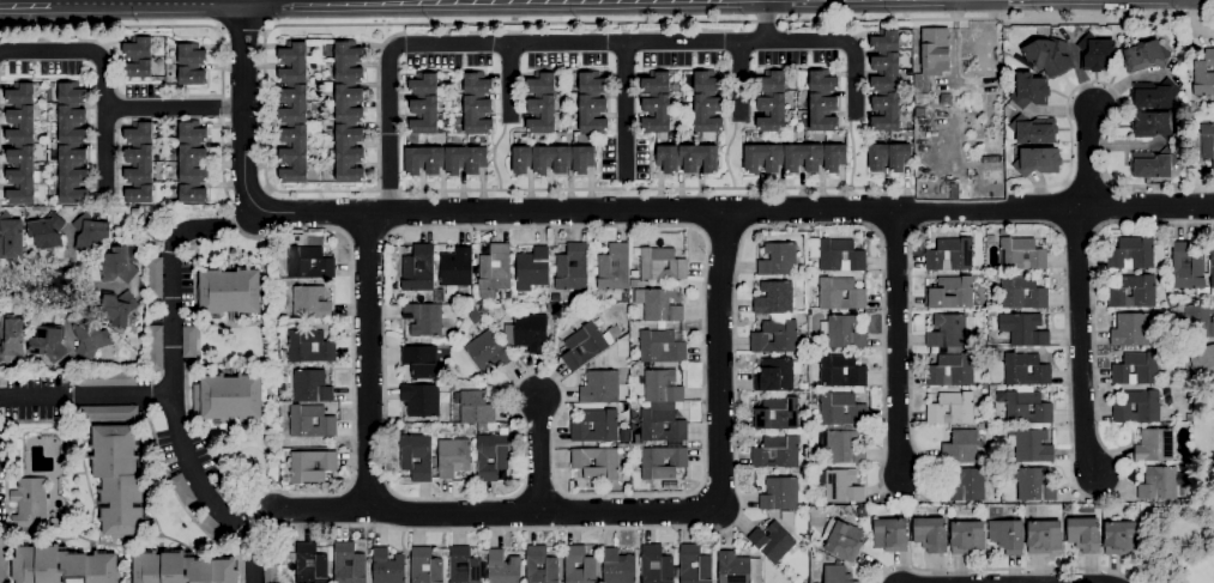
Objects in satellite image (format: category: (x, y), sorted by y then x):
road: (705, 1)
road: (115, 5)
road: (248, 5)
road: (446, 6)
road: (55, 10)
road: (159, 10)
road: (228, 10)
road: (765, 20)
road: (738, 22)
road: (1195, 25)
road: (241, 31)
building: (884, 41)
road: (538, 42)
road: (954, 42)
building: (138, 48)
road: (50, 51)
building: (1095, 53)
building: (191, 55)
building: (1179, 55)
building: (1144, 56)
building: (1049, 57)
building: (348, 62)
building: (931, 62)
building: (292, 63)
building: (138, 68)
building: (884, 72)
building: (191, 75)
building: (1203, 75)
road: (507, 79)
road: (854, 79)
road: (739, 80)
building: (771, 81)
building: (822, 81)
building: (540, 83)
building: (592, 83)
building: (656, 83)
building: (707, 83)
building: (423, 84)
building: (477, 84)
building: (49, 85)
building: (676, 89)
building: (1029, 91)
building: (71, 92)
building: (19, 93)
building: (1153, 95)
road: (1069, 98)
building: (944, 99)
building: (348, 103)
building: (292, 104)
road: (173, 108)
road: (624, 109)
building: (822, 111)
building: (886, 111)
building: (656, 113)
building: (707, 113)
building: (771, 113)
building: (591, 114)
building: (919, 114)
building: (423, 115)
building: (477, 115)
building: (540, 115)
building: (71, 123)
road: (104, 125)
building: (20, 126)
building: (1154, 126)
building: (1033, 130)
building: (138, 133)
building: (191, 133)
building: (1207, 142)
building: (294, 154)
building: (348, 154)
building: (878, 157)
building: (697, 158)
building: (763, 158)
building: (803, 158)
building: (834, 158)
building: (899, 158)
road: (1087, 158)
building: (521, 159)
building: (551, 159)
building: (668, 159)
building: (424, 160)
building: (464, 160)
building: (581, 160)
building: (1038, 162)
building: (192, 163)
building: (1153, 164)
building: (139, 165)
road: (243, 165)
building: (22, 175)
building: (72, 175)
road: (1158, 186)
road: (511, 190)
building: (954, 192)
building: (192, 193)
building: (139, 194)
road: (790, 209)
building: (134, 213)
building: (96, 217)
road: (582, 226)
building: (47, 232)
building: (91, 232)
building: (1003, 232)
road: (242, 233)
road: (366, 233)
building: (11, 237)
building: (989, 239)
building: (814, 248)
building: (1131, 254)
building: (950, 255)
building: (1021, 255)
building: (840, 256)
building: (778, 261)
building: (117, 263)
building: (309, 263)
building: (1212, 265)
building: (660, 266)
building: (1186, 267)
building: (455, 268)
building: (532, 268)
building: (572, 268)
building: (614, 268)
building: (417, 271)
building: (494, 272)
building: (155, 281)
building: (633, 284)
road: (90, 289)
road: (32, 292)
building: (229, 292)
building: (1133, 292)
building: (950, 293)
building: (1022, 293)
building: (839, 294)
building: (439, 296)
building: (623, 298)
building: (773, 299)
building: (310, 303)
building: (658, 305)
building: (117, 309)
building: (483, 310)
building: (1161, 317)
building: (423, 320)
building: (1198, 322)
building: (662, 327)
building: (1022, 330)
building: (1130, 330)
building: (947, 332)
building: (526, 333)
building: (842, 333)
building: (779, 336)
building: (12, 339)
building: (90, 339)
building: (188, 342)
road: (1079, 342)
building: (48, 344)
road: (896, 344)
building: (309, 347)
building: (582, 347)
building: (660, 347)
building: (155, 348)
road: (170, 351)
building: (487, 352)
building: (282, 356)
road: (718, 360)
road: (368, 362)
building: (419, 362)
building: (1202, 363)
building: (1185, 364)
building: (950, 369)
building: (1136, 369)
building: (840, 370)
building: (1025, 370)
building: (1190, 375)
building: (774, 376)
building: (107, 379)
building: (310, 387)
building: (660, 387)
building: (803, 387)
building: (599, 388)
building: (228, 397)
building: (421, 400)
building: (1137, 407)
building: (476, 408)
building: (1025, 408)
building: (950, 409)
building: (841, 411)
building: (108, 414)
building: (775, 414)
building: (1189, 419)
building: (310, 423)
building: (662, 424)
building: (594, 426)
building: (481, 427)
building: (842, 447)
building: (1031, 447)
building: (1154, 447)
building: (960, 448)
building: (775, 454)
road: (538, 455)
building: (415, 457)
building: (453, 457)
building: (490, 457)
building: (811, 460)
building: (596, 463)
building: (662, 463)
building: (1186, 464)
building: (312, 467)
building: (117, 480)
building: (1034, 485)
building: (1158, 485)
building: (841, 486)
building: (966, 486)
building: (182, 490)
road: (206, 493)
building: (779, 496)
building: (228, 498)
road: (890, 498)
building: (29, 504)
building: (1065, 508)
building: (862, 512)
road: (494, 514)
building: (786, 517)
building: (212, 529)
building: (931, 534)
building: (1083, 535)
building: (889, 536)
building: (966, 536)
building: (1007, 538)
building: (1043, 538)
building: (1121, 539)
building: (841, 541)
building: (771, 542)
park: (1179, 542)
building: (2, 559)
building: (542, 561)
building: (581, 561)
building: (310, 564)
building: (358, 564)
building: (657, 565)
building: (705, 565)
building: (62, 566)
building: (424, 566)
building: (463, 566)
building: (616, 566)
building: (388, 567)
building: (503, 569)
building: (737, 569)
building: (181, 570)
road: (1002, 570)
building: (270, 573)
building: (836, 575)
building: (801, 582)

